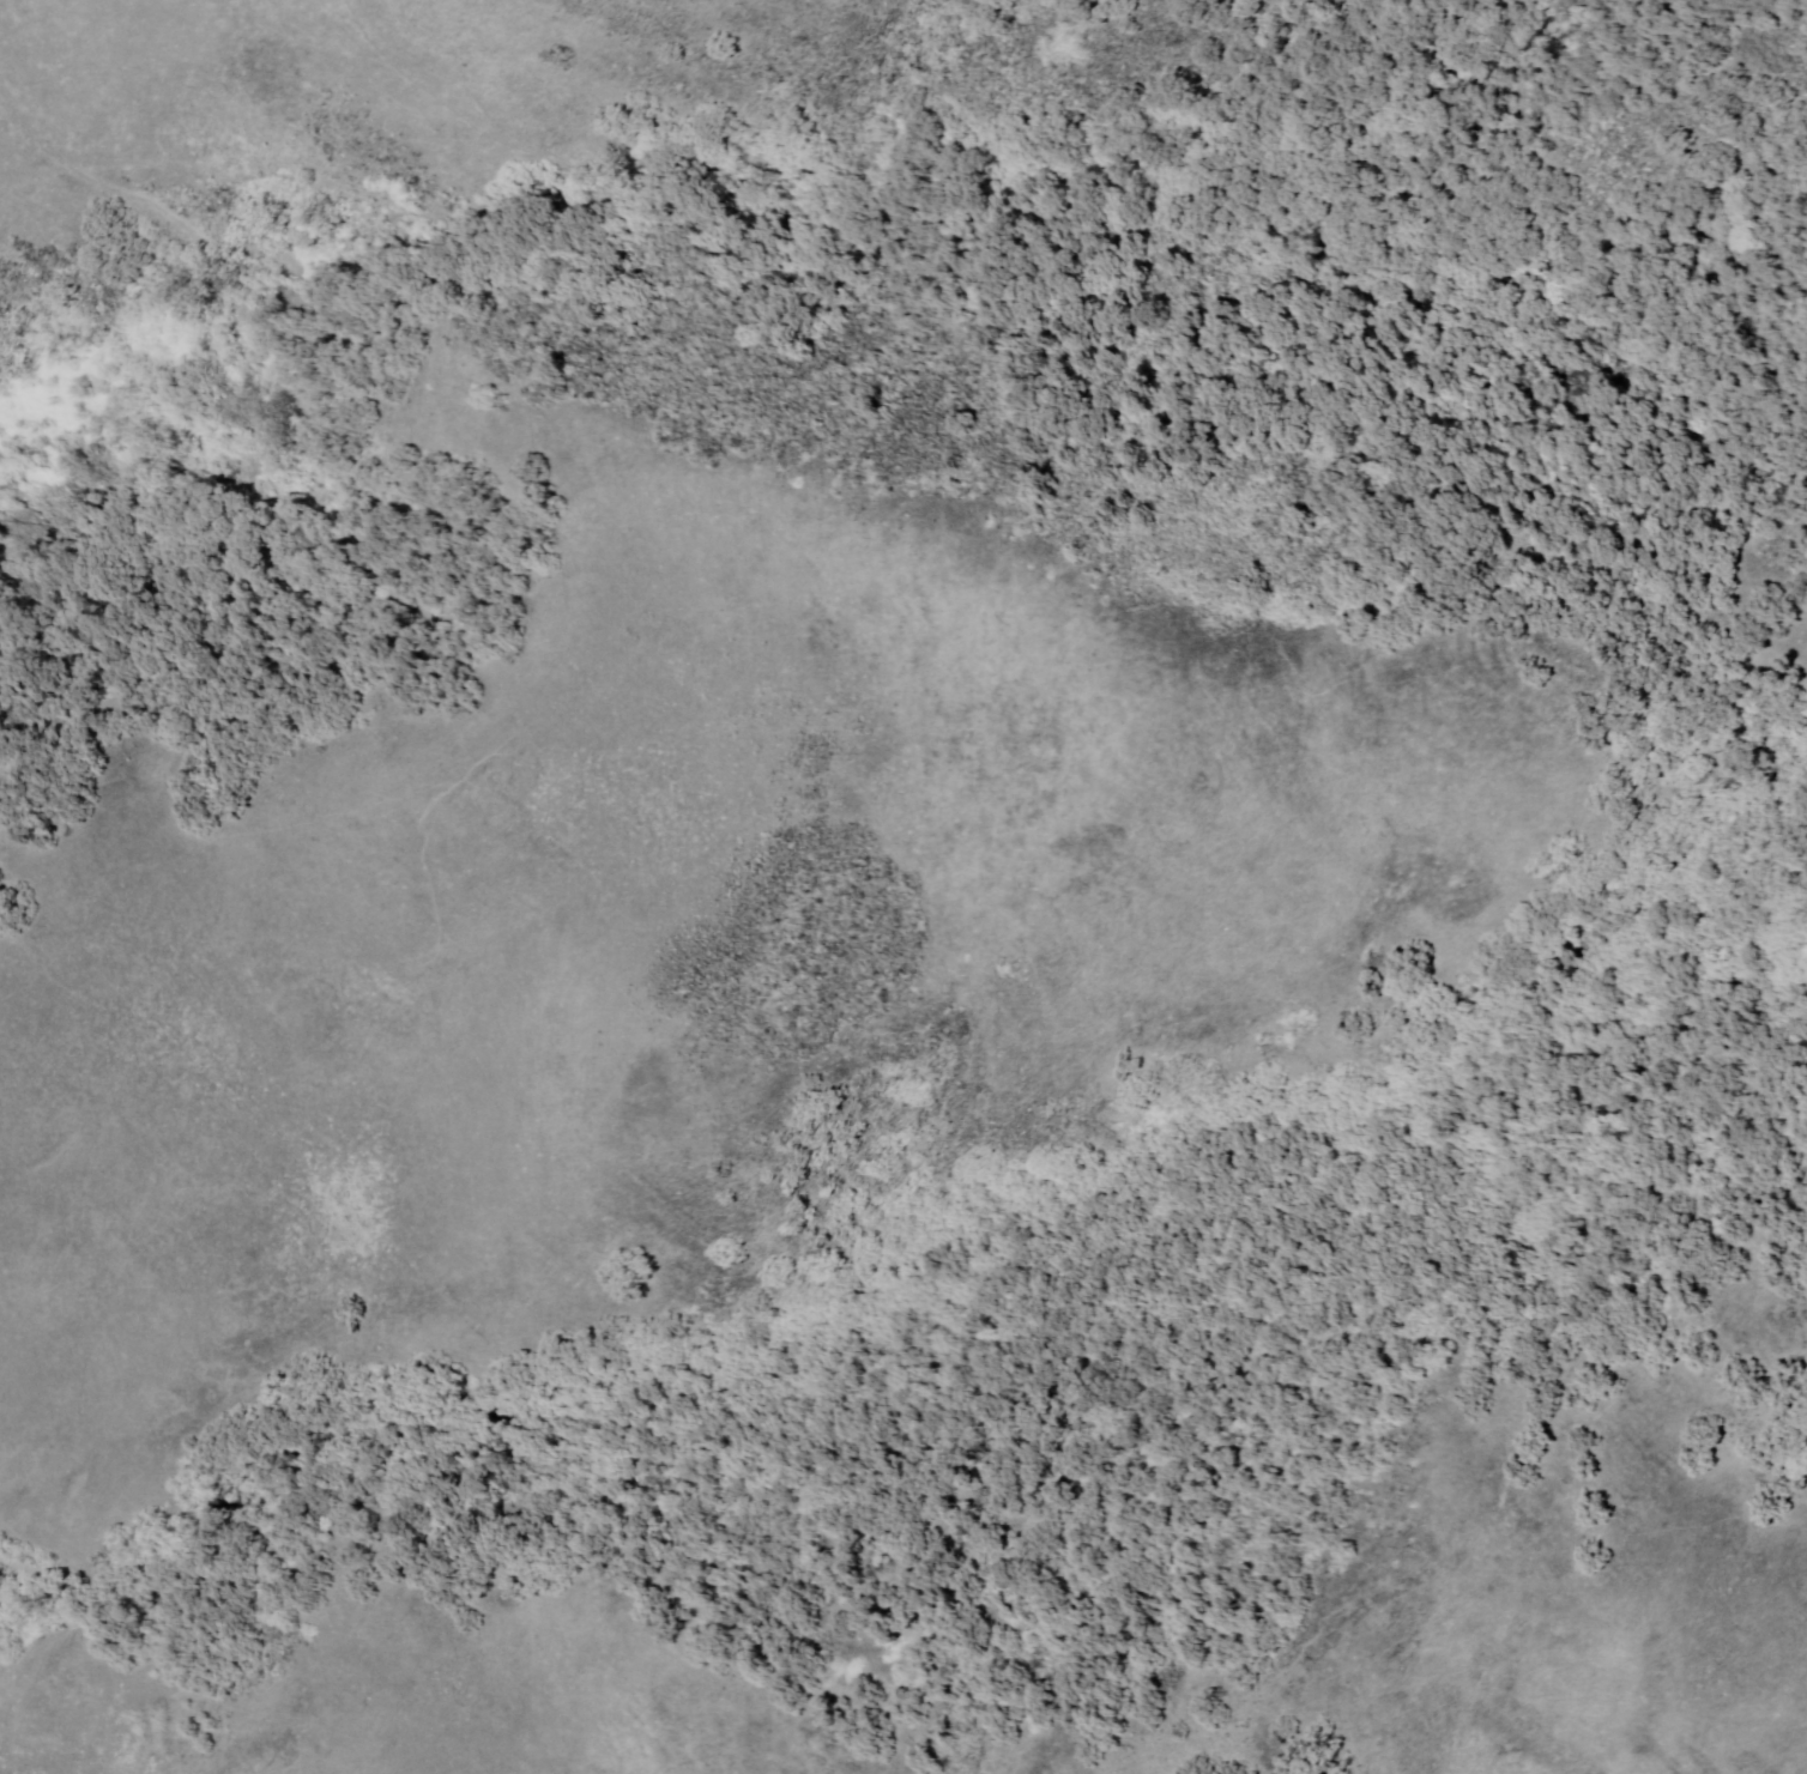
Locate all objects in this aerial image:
road: (96, 177)

